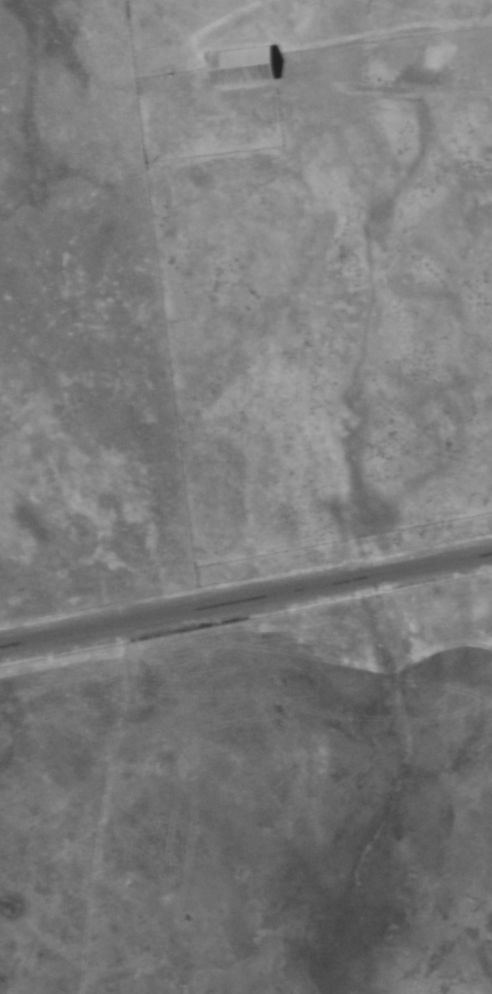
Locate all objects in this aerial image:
building: (241, 65)
road: (246, 598)

